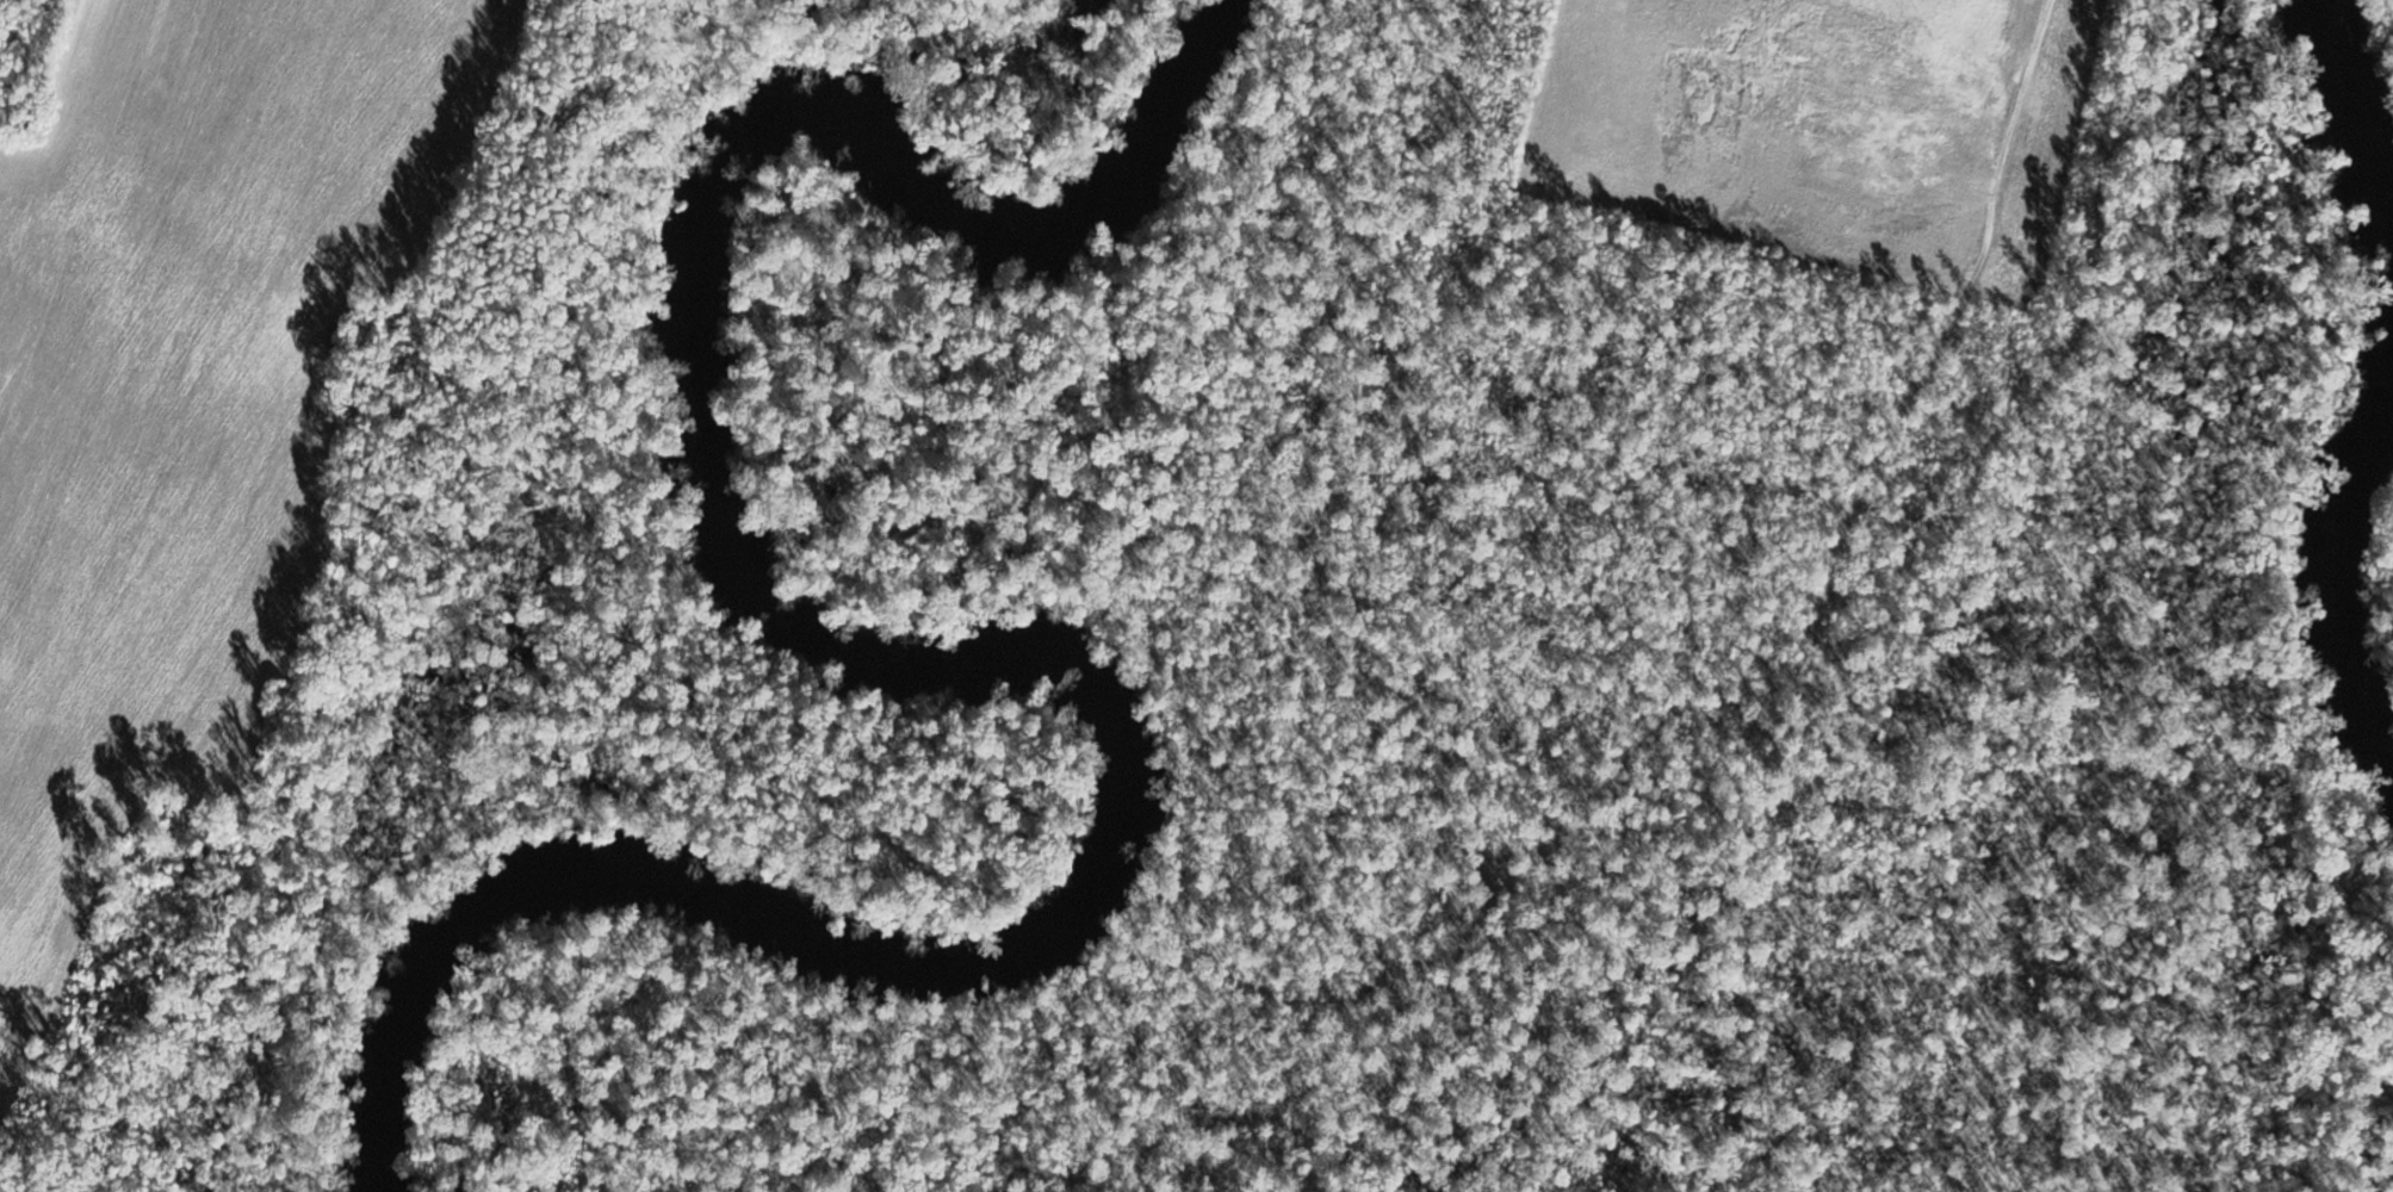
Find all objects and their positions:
river: (2360, 135)
river: (2345, 578)
airport: (1589, 637)
river: (955, 660)

